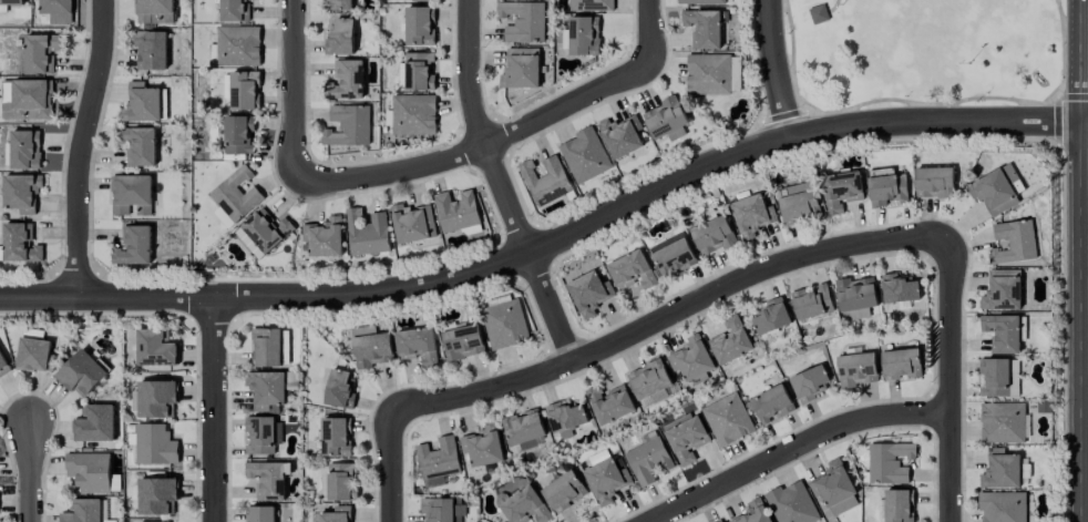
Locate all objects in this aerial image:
building: (420, 0)
building: (701, 1)
building: (11, 2)
building: (338, 4)
building: (592, 4)
building: (55, 7)
building: (153, 11)
building: (233, 11)
building: (818, 13)
building: (523, 21)
building: (419, 25)
building: (702, 28)
road: (649, 31)
building: (584, 35)
building: (340, 37)
building: (237, 45)
building: (151, 50)
park: (930, 51)
building: (41, 52)
building: (521, 69)
road: (777, 70)
building: (419, 71)
building: (735, 73)
building: (708, 74)
building: (347, 80)
building: (245, 90)
road: (296, 91)
building: (25, 100)
building: (141, 103)
building: (413, 114)
building: (666, 120)
building: (349, 125)
building: (239, 134)
building: (620, 135)
building: (137, 145)
road: (480, 145)
road: (81, 147)
building: (24, 149)
building: (585, 155)
building: (546, 181)
building: (933, 182)
road: (500, 185)
building: (887, 190)
building: (996, 190)
building: (841, 191)
building: (21, 192)
building: (131, 194)
building: (236, 195)
building: (800, 203)
building: (456, 211)
building: (751, 215)
building: (223, 217)
building: (412, 223)
building: (263, 233)
building: (367, 233)
building: (714, 236)
building: (324, 237)
building: (1014, 242)
building: (20, 243)
road: (552, 243)
building: (134, 246)
building: (673, 256)
building: (632, 272)
building: (899, 288)
building: (1002, 290)
building: (589, 293)
building: (855, 297)
building: (811, 303)
road: (671, 314)
building: (770, 317)
building: (505, 324)
building: (1002, 332)
building: (730, 341)
building: (463, 342)
building: (417, 345)
building: (266, 347)
building: (371, 347)
building: (155, 348)
building: (34, 355)
building: (691, 358)
building: (901, 364)
building: (3, 366)
building: (856, 369)
building: (998, 377)
road: (954, 380)
building: (649, 382)
building: (810, 382)
building: (266, 389)
building: (339, 389)
building: (155, 399)
building: (609, 403)
building: (770, 403)
road: (214, 410)
building: (565, 416)
building: (727, 419)
building: (94, 423)
building: (1003, 423)
building: (524, 430)
building: (263, 434)
building: (337, 437)
building: (686, 437)
building: (154, 444)
building: (482, 446)
road: (793, 448)
building: (648, 460)
building: (438, 461)
road: (393, 462)
building: (889, 462)
building: (1000, 470)
building: (89, 471)
road: (32, 473)
building: (268, 479)
building: (606, 481)
building: (341, 482)
building: (834, 488)
building: (564, 491)
building: (156, 495)
building: (791, 503)
building: (523, 504)
building: (899, 505)
building: (1003, 506)
building: (441, 509)
building: (82, 511)
building: (753, 512)
building: (259, 514)
building: (336, 514)
building: (165, 521)
building: (720, 521)

